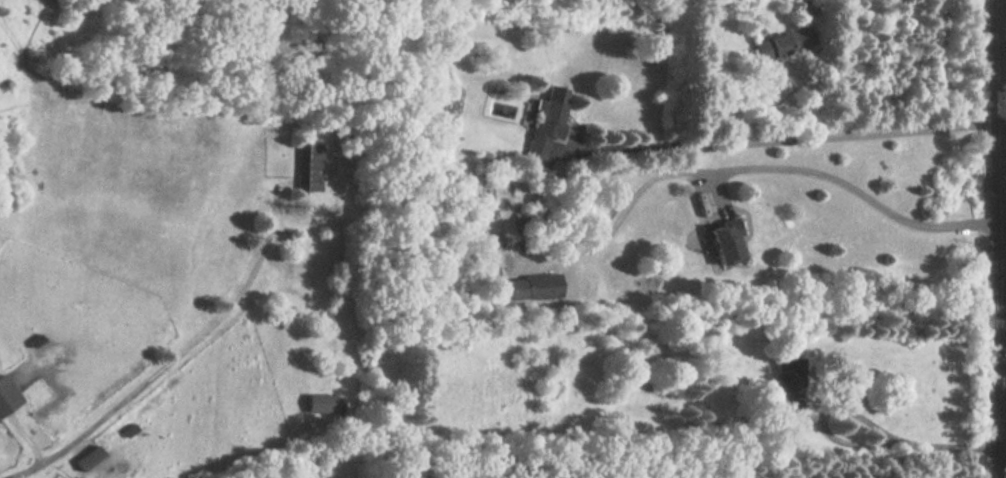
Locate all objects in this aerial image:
building: (783, 43)
building: (549, 118)
road: (792, 140)
building: (309, 166)
road: (748, 168)
building: (497, 188)
road: (1001, 239)
building: (728, 240)
road: (1003, 258)
building: (535, 286)
road: (184, 366)
building: (7, 395)
building: (321, 403)
road: (924, 446)

